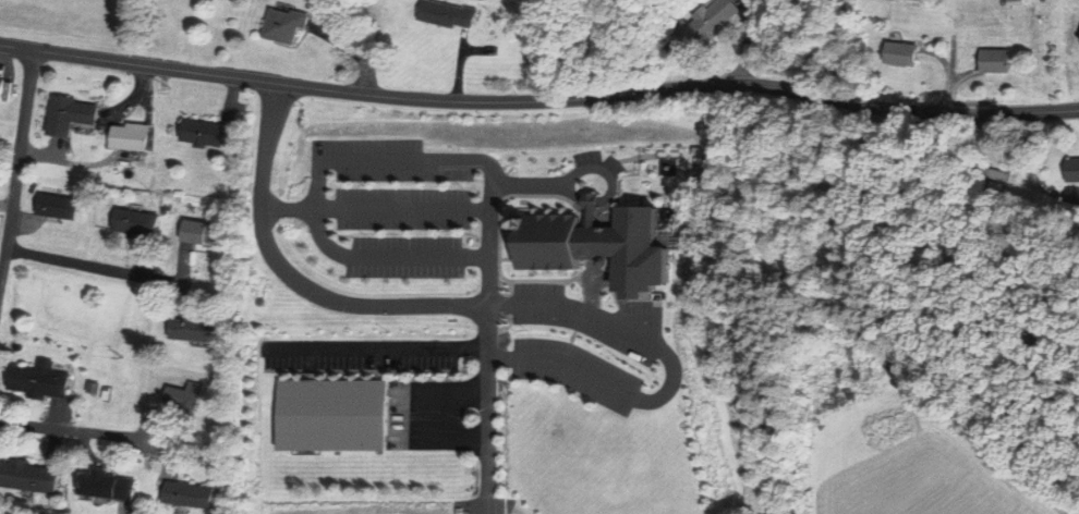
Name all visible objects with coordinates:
building: (1014, 2)
building: (447, 13)
building: (710, 22)
building: (287, 25)
building: (1076, 37)
road: (749, 41)
road: (361, 46)
building: (900, 53)
building: (994, 59)
road: (460, 69)
building: (2, 87)
road: (539, 101)
building: (72, 114)
building: (211, 133)
building: (133, 137)
road: (426, 161)
road: (19, 170)
building: (1069, 171)
building: (59, 205)
road: (401, 209)
park: (1, 221)
building: (138, 222)
building: (208, 232)
building: (599, 245)
road: (385, 257)
road: (96, 267)
road: (381, 307)
building: (198, 329)
road: (675, 371)
building: (40, 379)
building: (95, 387)
building: (187, 395)
building: (334, 415)
road: (72, 430)
building: (31, 476)
building: (112, 487)
building: (193, 494)
road: (483, 507)

